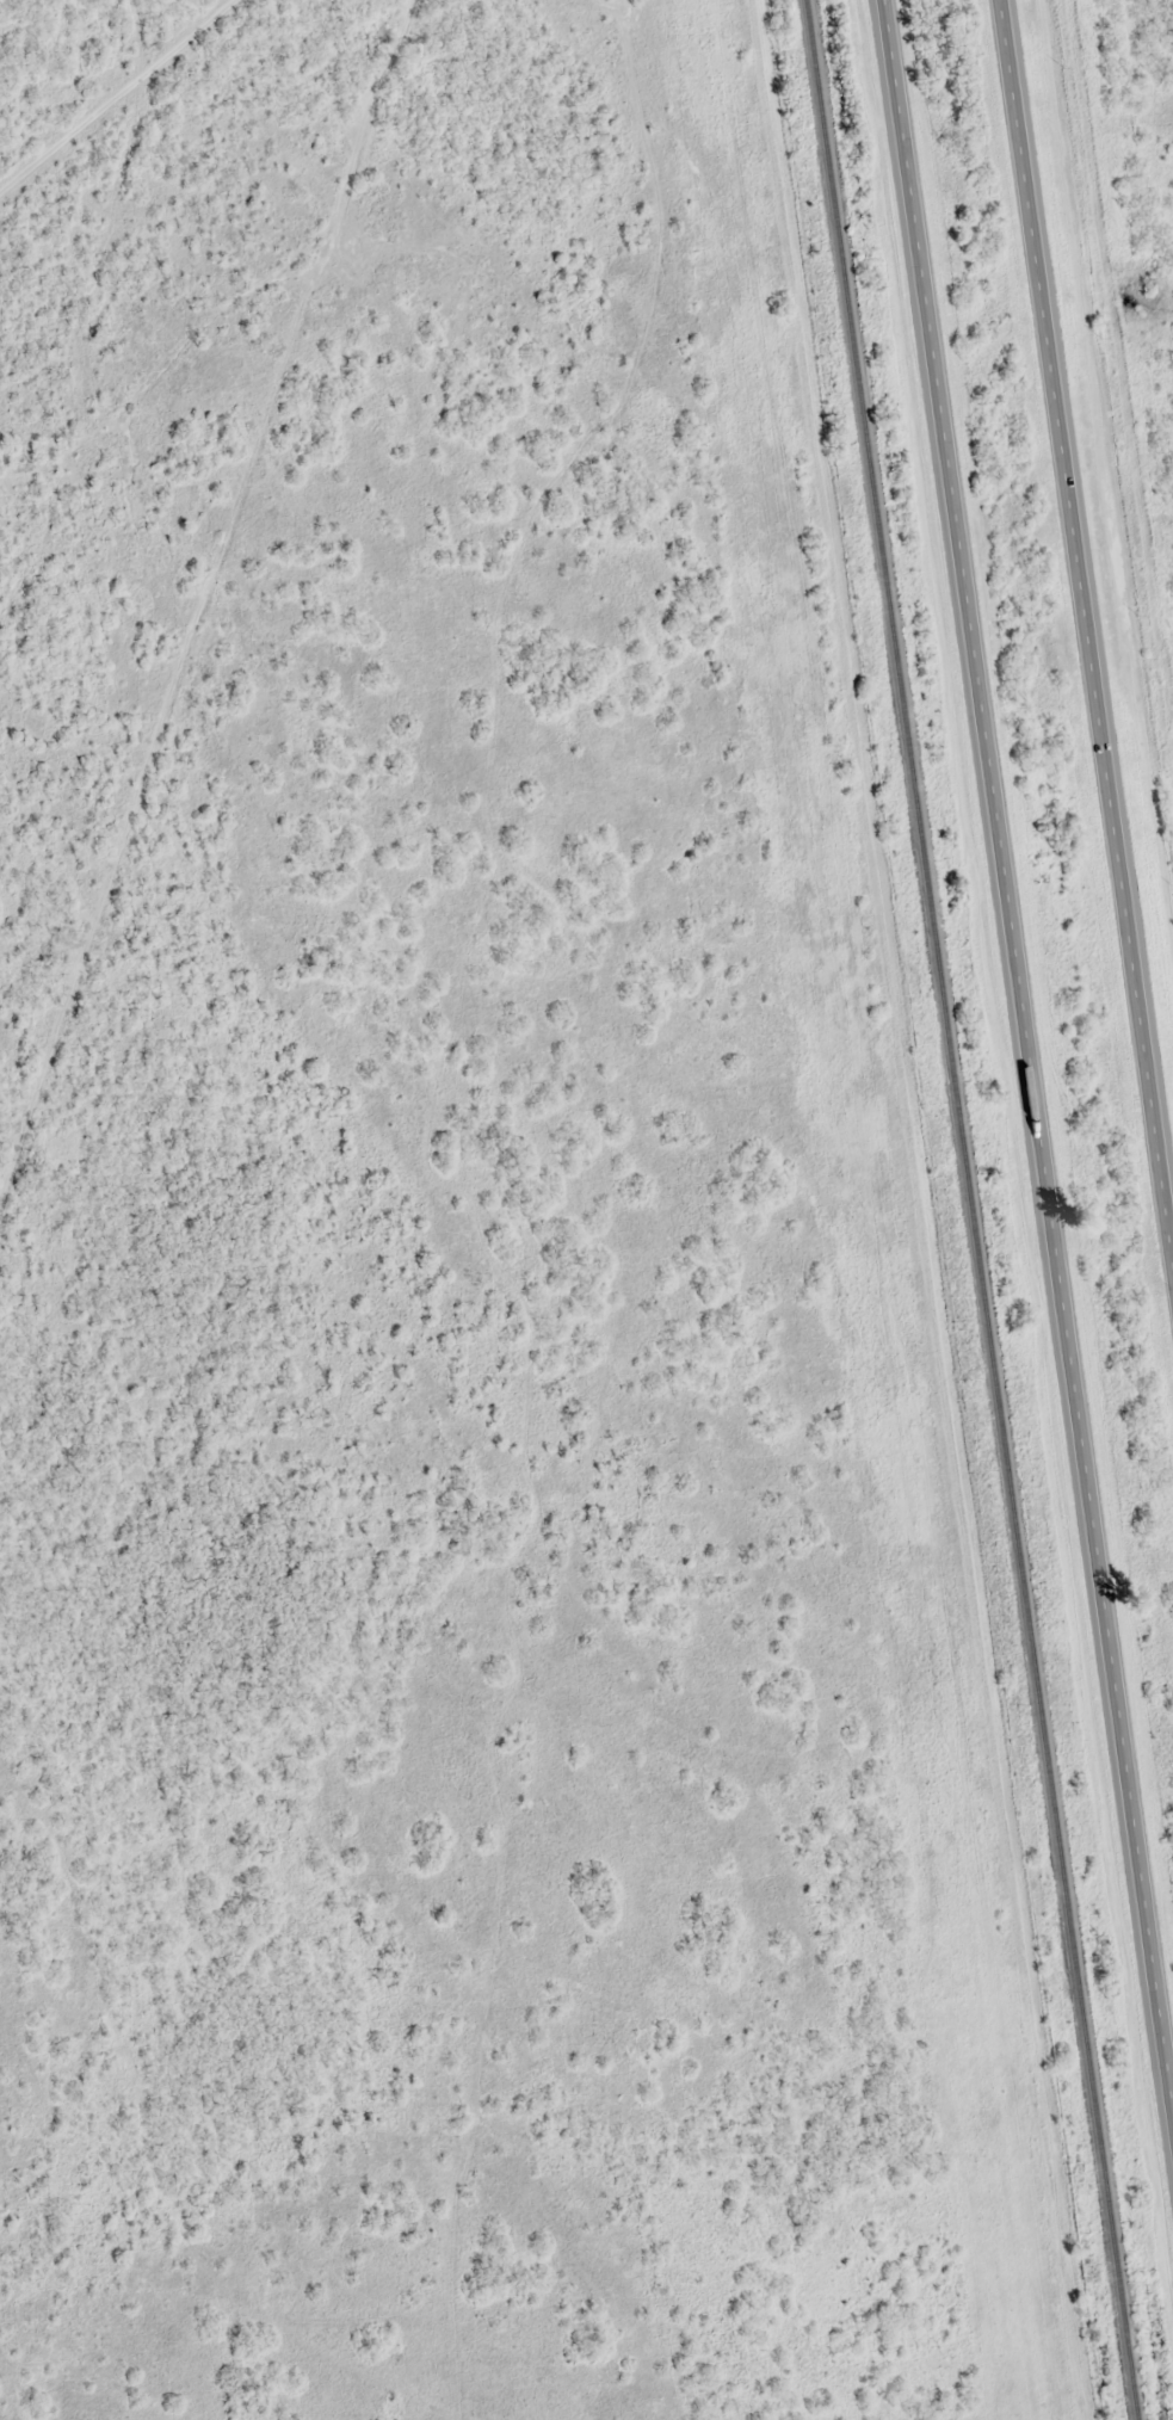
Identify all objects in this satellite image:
road: (103, 78)
road: (1087, 617)
road: (1030, 1054)
railway: (970, 1210)

